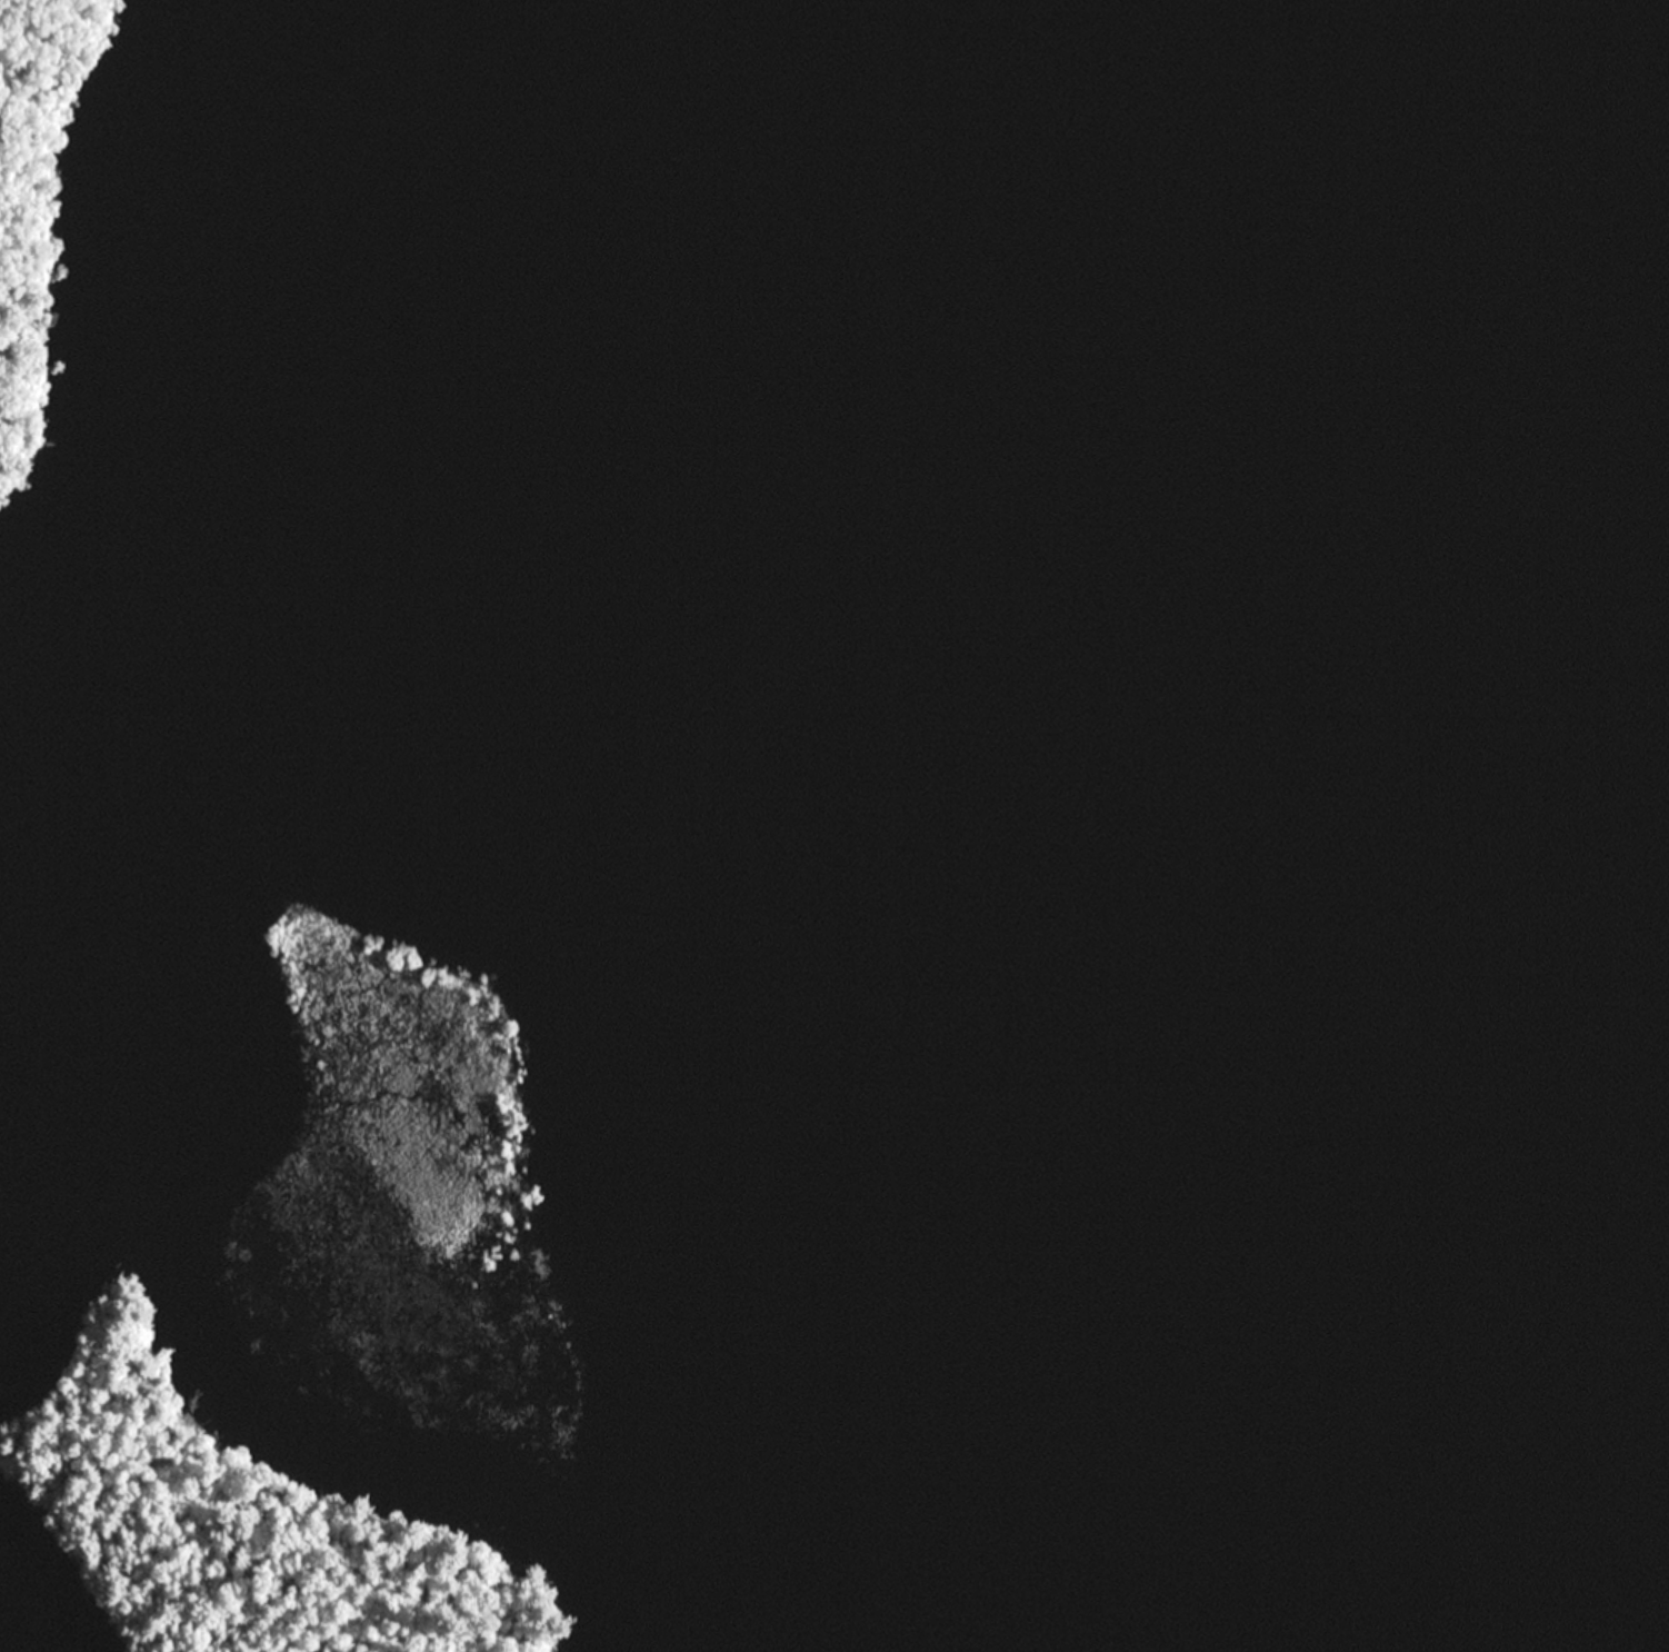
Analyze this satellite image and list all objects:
river: (752, 908)

